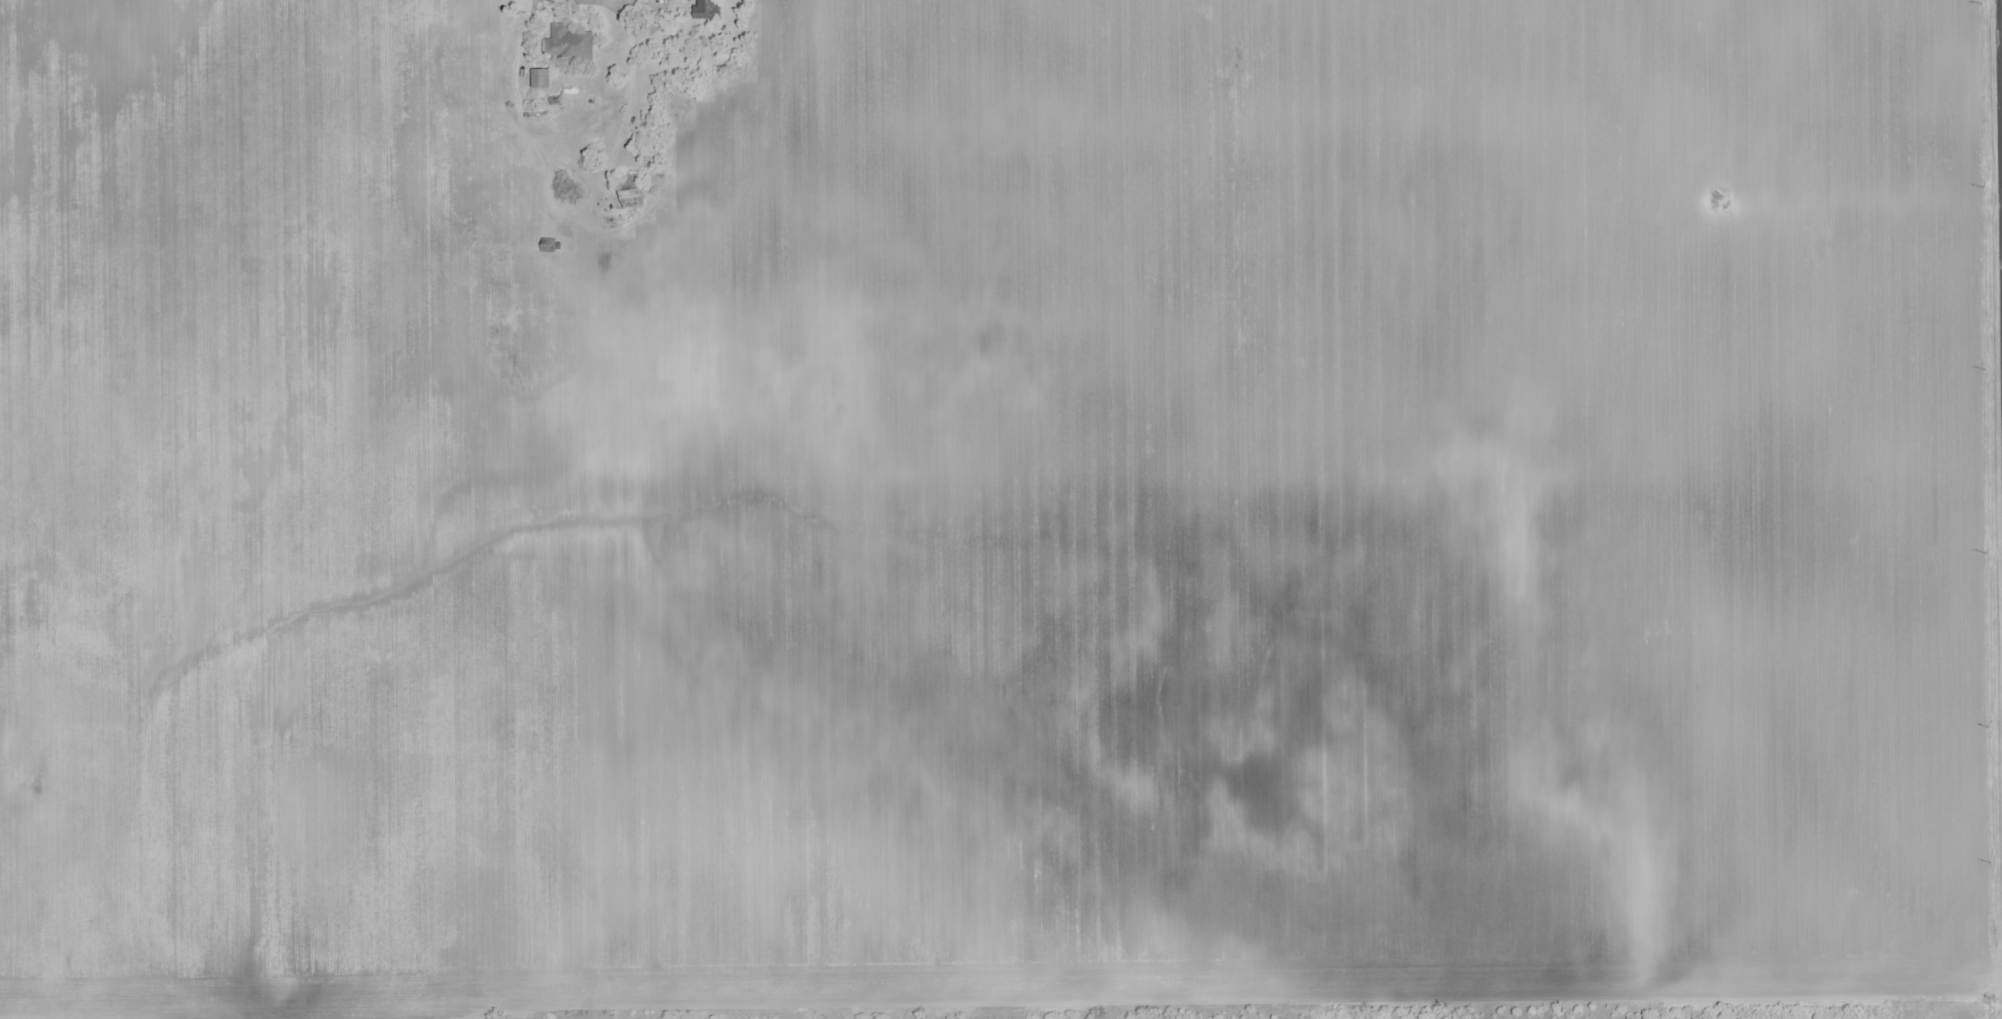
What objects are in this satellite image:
building: (708, 9)
building: (569, 44)
building: (541, 78)
road: (1444, 1012)

